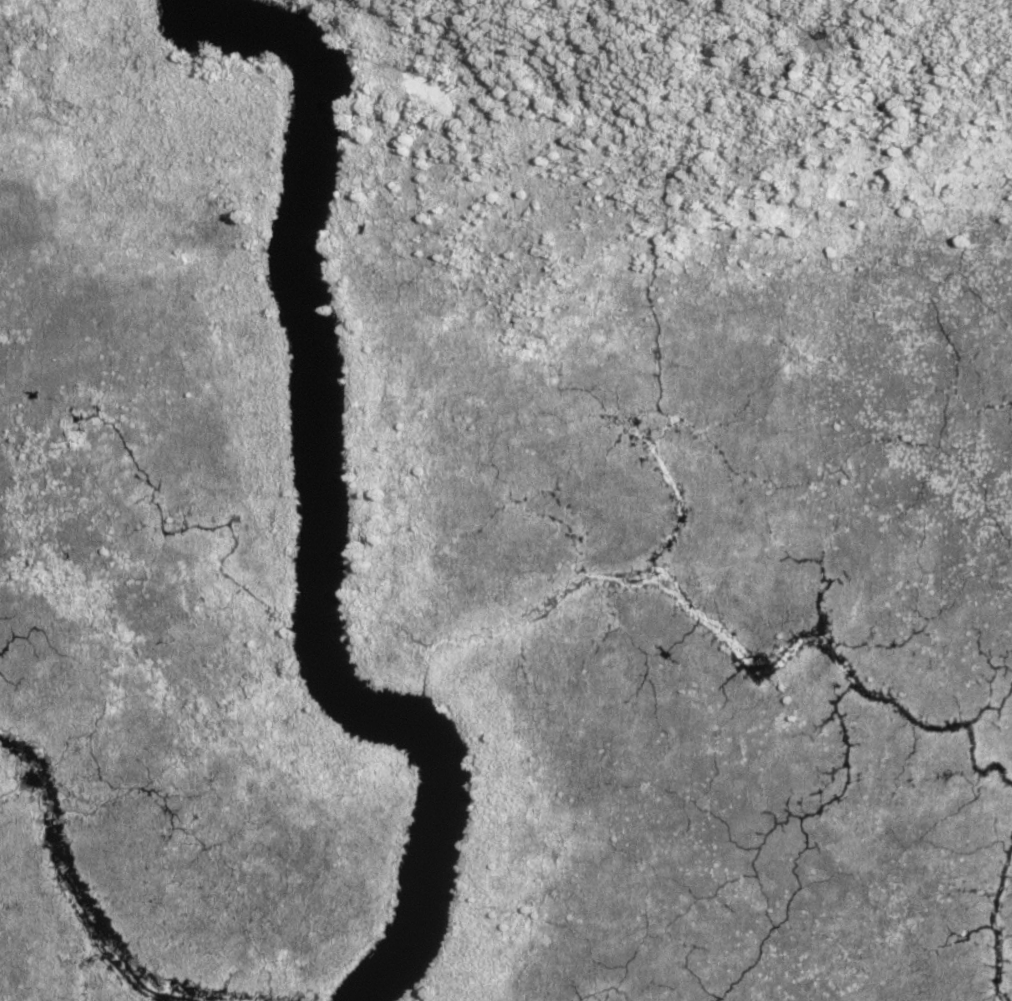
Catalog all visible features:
river: (321, 497)

